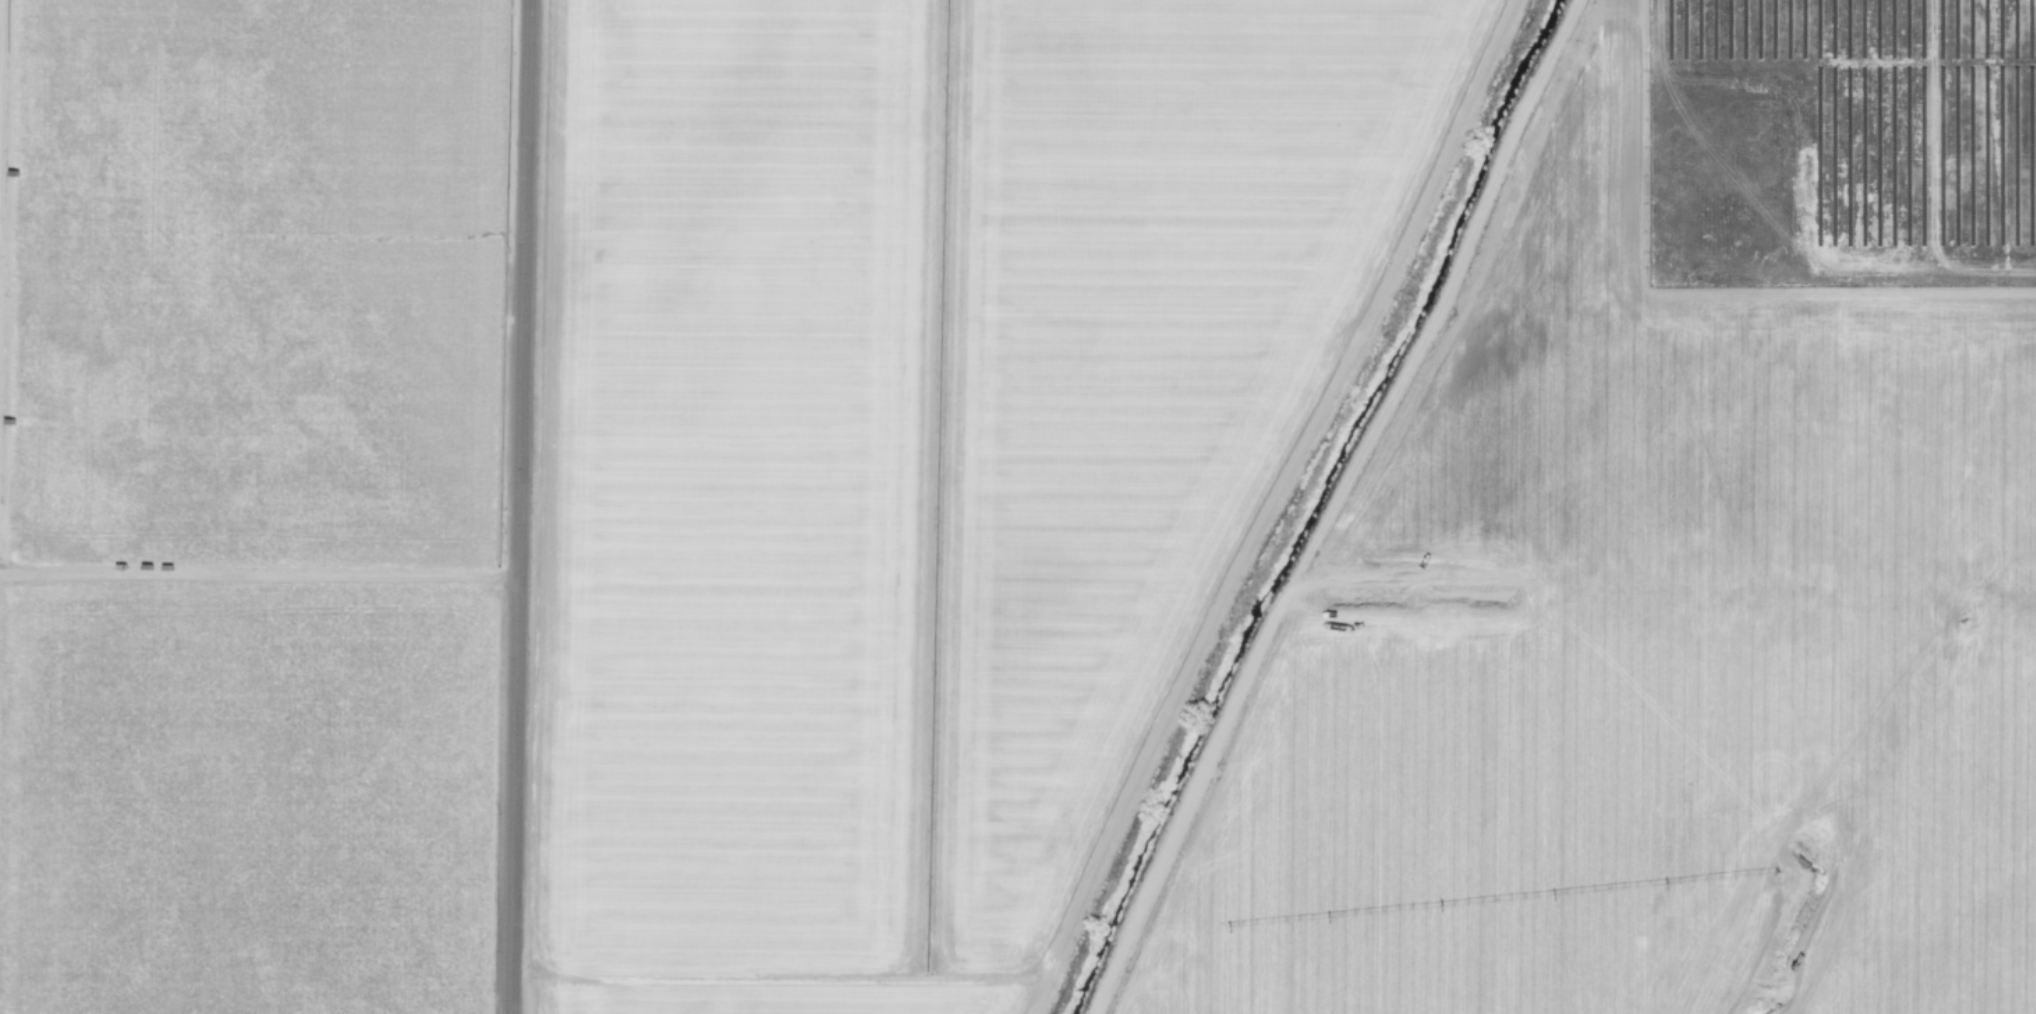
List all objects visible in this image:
solar farm: (1843, 143)
road: (1266, 505)
road: (513, 506)
road: (1332, 507)
road: (256, 574)

